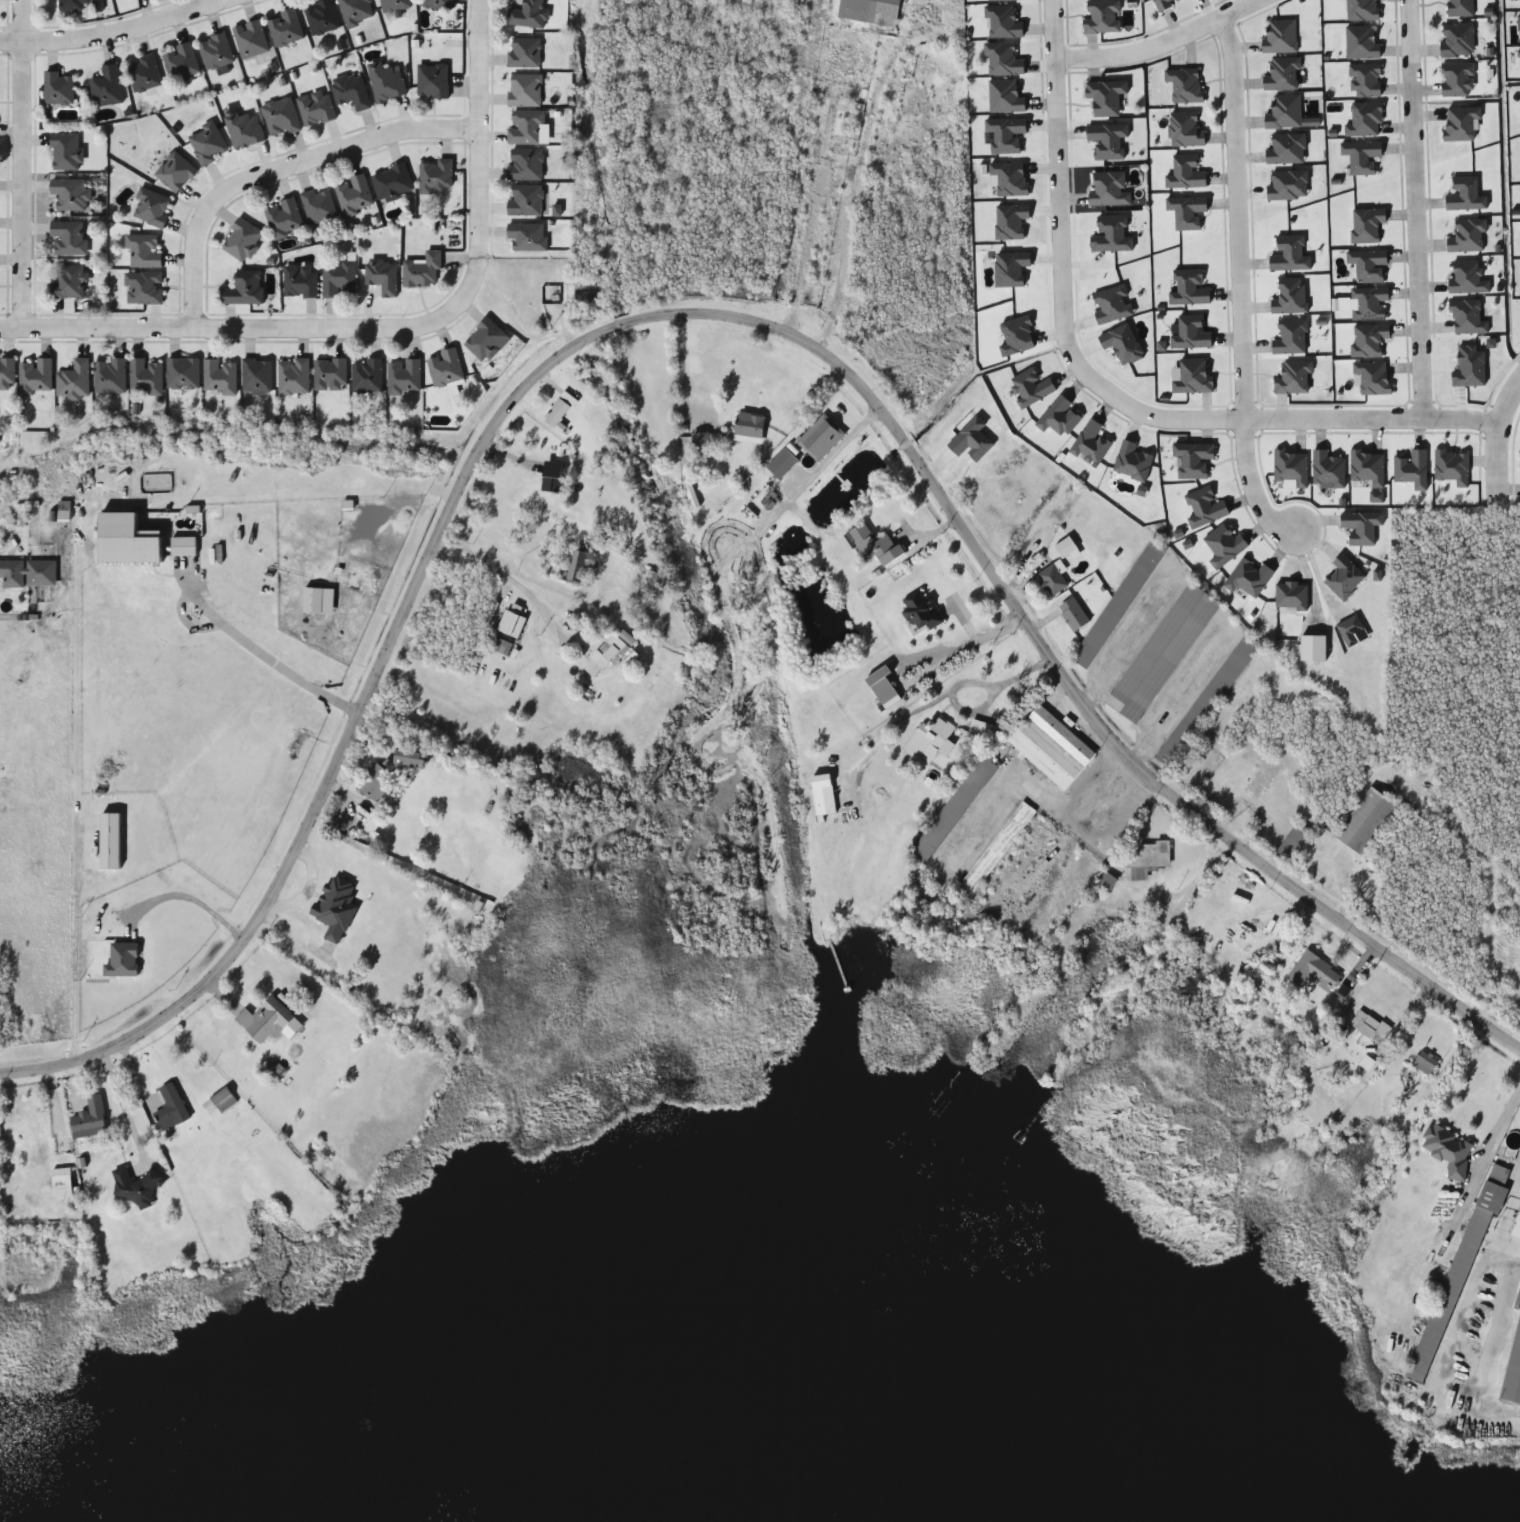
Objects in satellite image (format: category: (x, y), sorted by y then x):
building: (1003, 0)
road: (214, 4)
building: (438, 4)
building: (1161, 4)
building: (74, 5)
building: (394, 5)
building: (871, 8)
building: (1460, 8)
building: (1360, 10)
building: (356, 11)
building: (528, 15)
building: (320, 17)
building: (1101, 17)
building: (1002, 22)
building: (285, 28)
building: (1281, 32)
road: (122, 35)
building: (251, 39)
building: (1457, 40)
building: (1360, 43)
road: (1164, 45)
building: (215, 51)
building: (524, 53)
building: (1002, 59)
building: (181, 62)
building: (144, 74)
building: (1282, 75)
building: (433, 81)
building: (386, 82)
building: (1184, 85)
building: (106, 87)
building: (58, 89)
building: (351, 91)
building: (524, 91)
building: (1004, 97)
building: (1105, 97)
building: (316, 109)
building: (1283, 113)
building: (280, 117)
building: (525, 128)
building: (244, 129)
building: (1184, 130)
building: (207, 144)
building: (66, 152)
road: (15, 164)
building: (525, 164)
road: (272, 167)
building: (175, 172)
building: (436, 177)
building: (392, 183)
building: (70, 194)
building: (354, 196)
building: (524, 201)
building: (317, 206)
building: (151, 208)
road: (1419, 214)
building: (283, 218)
road: (1236, 225)
building: (526, 236)
building: (69, 237)
building: (242, 240)
building: (144, 251)
building: (423, 271)
building: (383, 276)
building: (338, 279)
building: (69, 282)
building: (300, 282)
road: (8, 288)
building: (144, 288)
building: (245, 289)
road: (708, 315)
road: (386, 330)
building: (487, 341)
building: (445, 368)
building: (7, 374)
building: (183, 374)
building: (257, 375)
building: (330, 375)
building: (109, 376)
building: (146, 376)
building: (293, 376)
building: (36, 377)
building: (220, 377)
building: (367, 377)
building: (404, 377)
building: (74, 380)
road: (1096, 394)
building: (556, 413)
building: (750, 416)
building: (820, 430)
building: (974, 433)
building: (708, 435)
road: (1495, 438)
building: (784, 454)
building: (551, 478)
building: (692, 489)
road: (1252, 490)
building: (875, 537)
building: (130, 541)
building: (184, 547)
building: (1065, 547)
building: (577, 566)
building: (28, 572)
building: (1051, 575)
building: (1118, 597)
building: (920, 602)
building: (1074, 606)
building: (511, 625)
building: (1165, 646)
building: (500, 647)
building: (608, 653)
building: (883, 679)
building: (1208, 695)
building: (982, 721)
building: (931, 735)
building: (1052, 740)
building: (407, 758)
building: (374, 783)
building: (823, 789)
building: (952, 805)
building: (1366, 813)
building: (1295, 836)
building: (997, 842)
building: (1148, 851)
building: (1107, 875)
building: (367, 898)
building: (314, 910)
building: (121, 960)
building: (1315, 965)
building: (1343, 992)
building: (264, 1020)
building: (1368, 1022)
building: (1365, 1056)
building: (1427, 1057)
building: (223, 1101)
building: (170, 1108)
building: (89, 1120)
building: (1447, 1144)
building: (61, 1182)
building: (135, 1187)
building: (1516, 1218)
building: (1459, 1261)
building: (1512, 1364)

